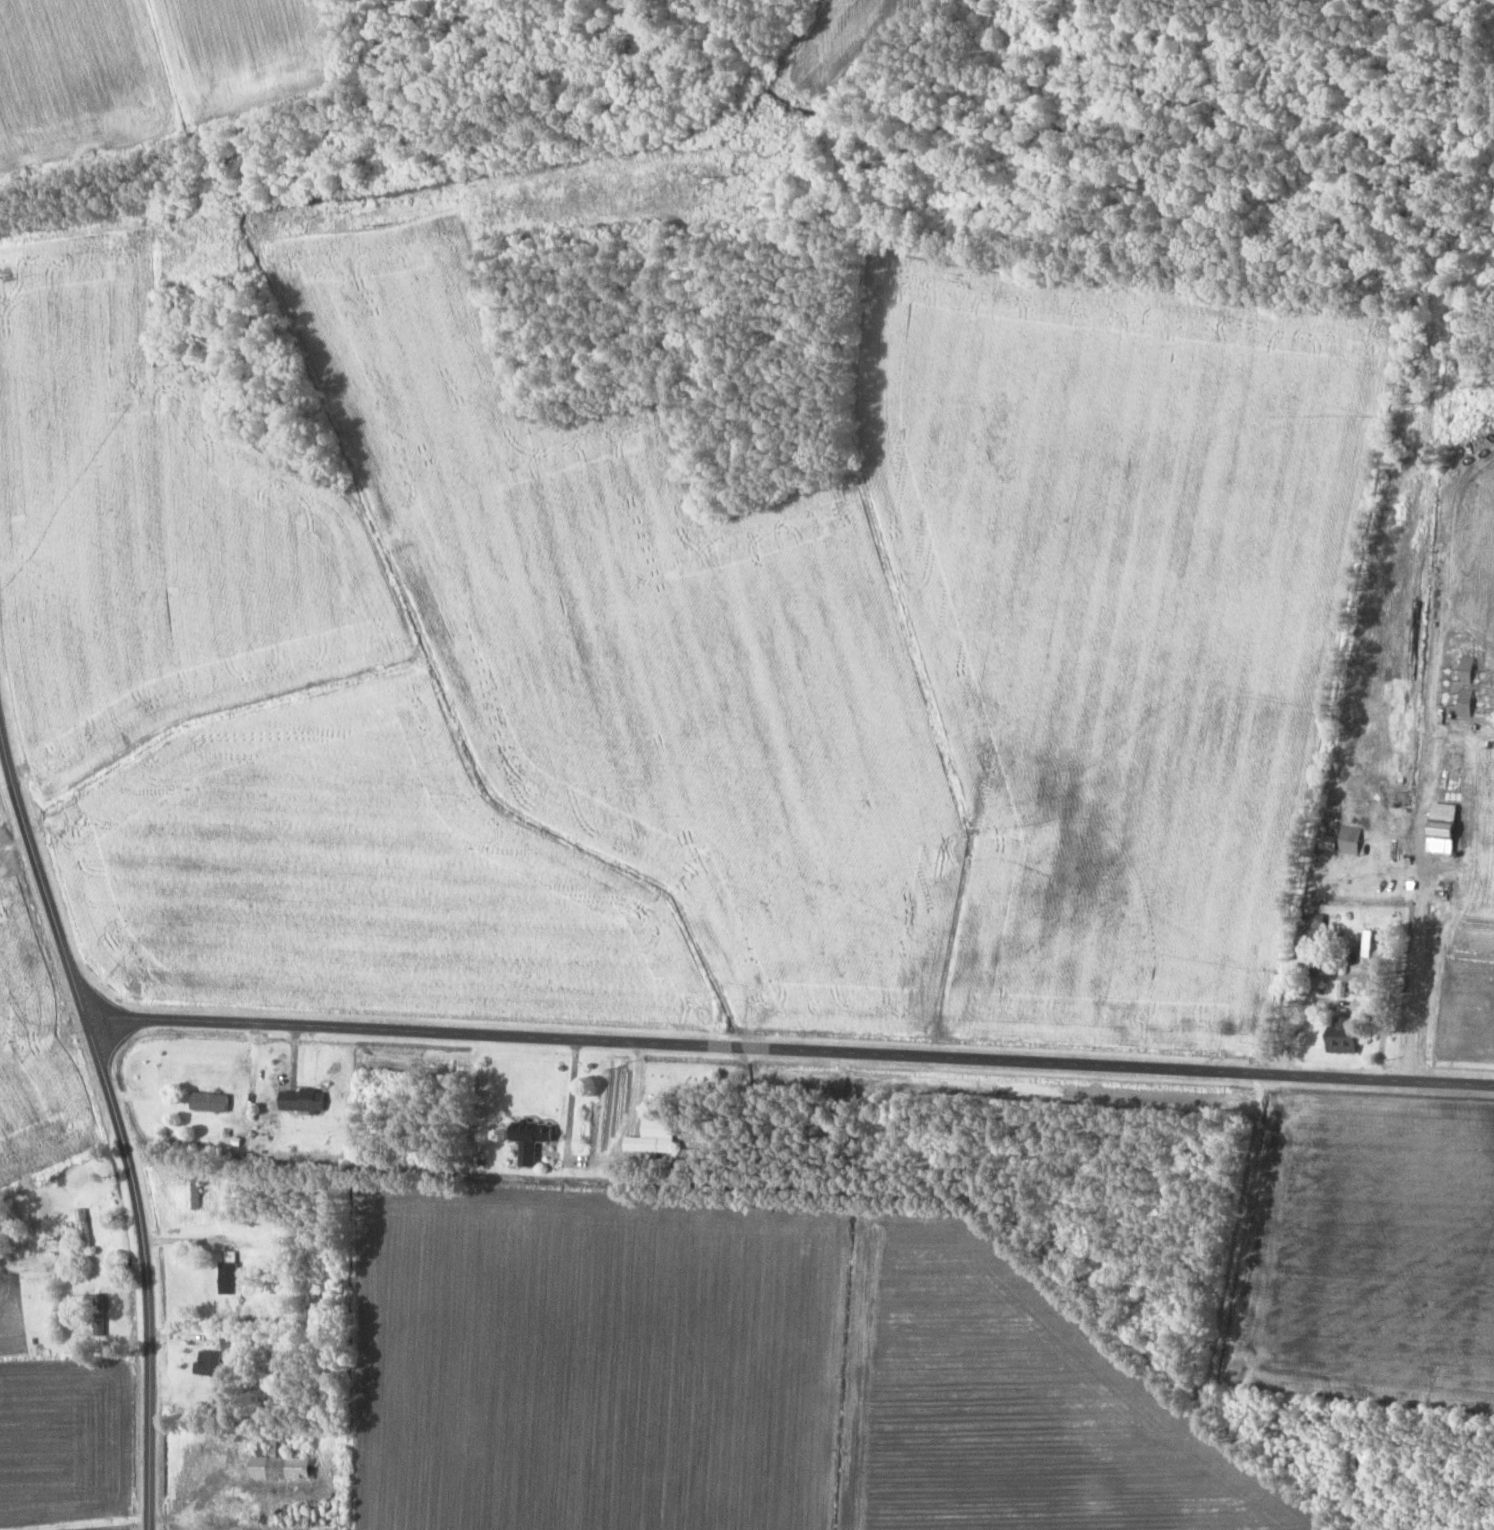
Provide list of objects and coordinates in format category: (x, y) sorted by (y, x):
power tower: (730, 175)
power tower: (382, 224)
power tower: (2, 277)
building: (1307, 941)
building: (1373, 944)
building: (1344, 1035)
road: (790, 1050)
building: (303, 1099)
building: (210, 1102)
road: (118, 1123)
building: (534, 1132)
building: (650, 1144)
building: (690, 1158)
building: (83, 1229)
building: (229, 1273)
building: (99, 1317)
building: (232, 1342)
building: (208, 1363)
building: (279, 1445)
building: (283, 1468)
road: (74, 1519)

